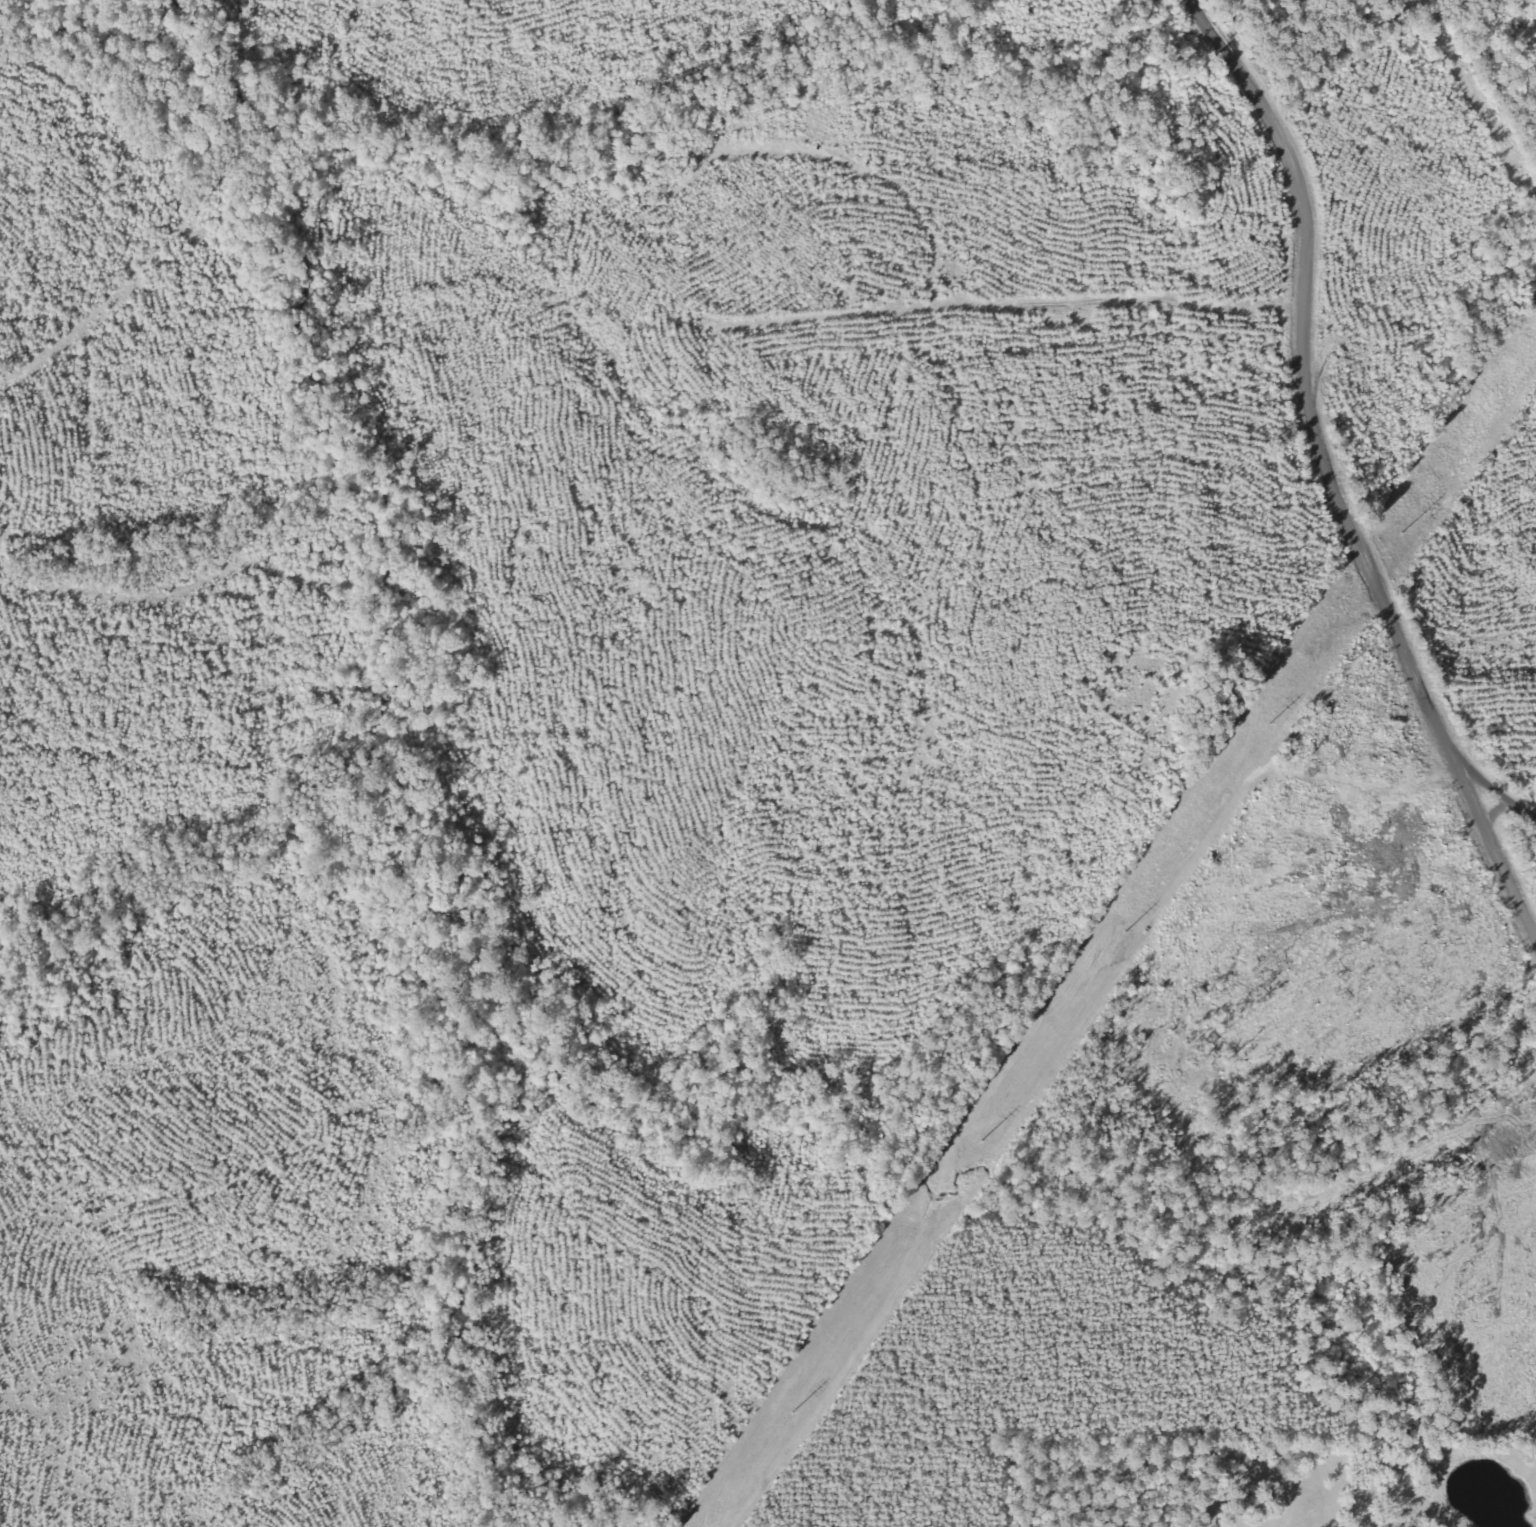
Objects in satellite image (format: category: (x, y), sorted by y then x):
road: (1327, 474)
road: (1495, 791)
road: (1496, 814)

